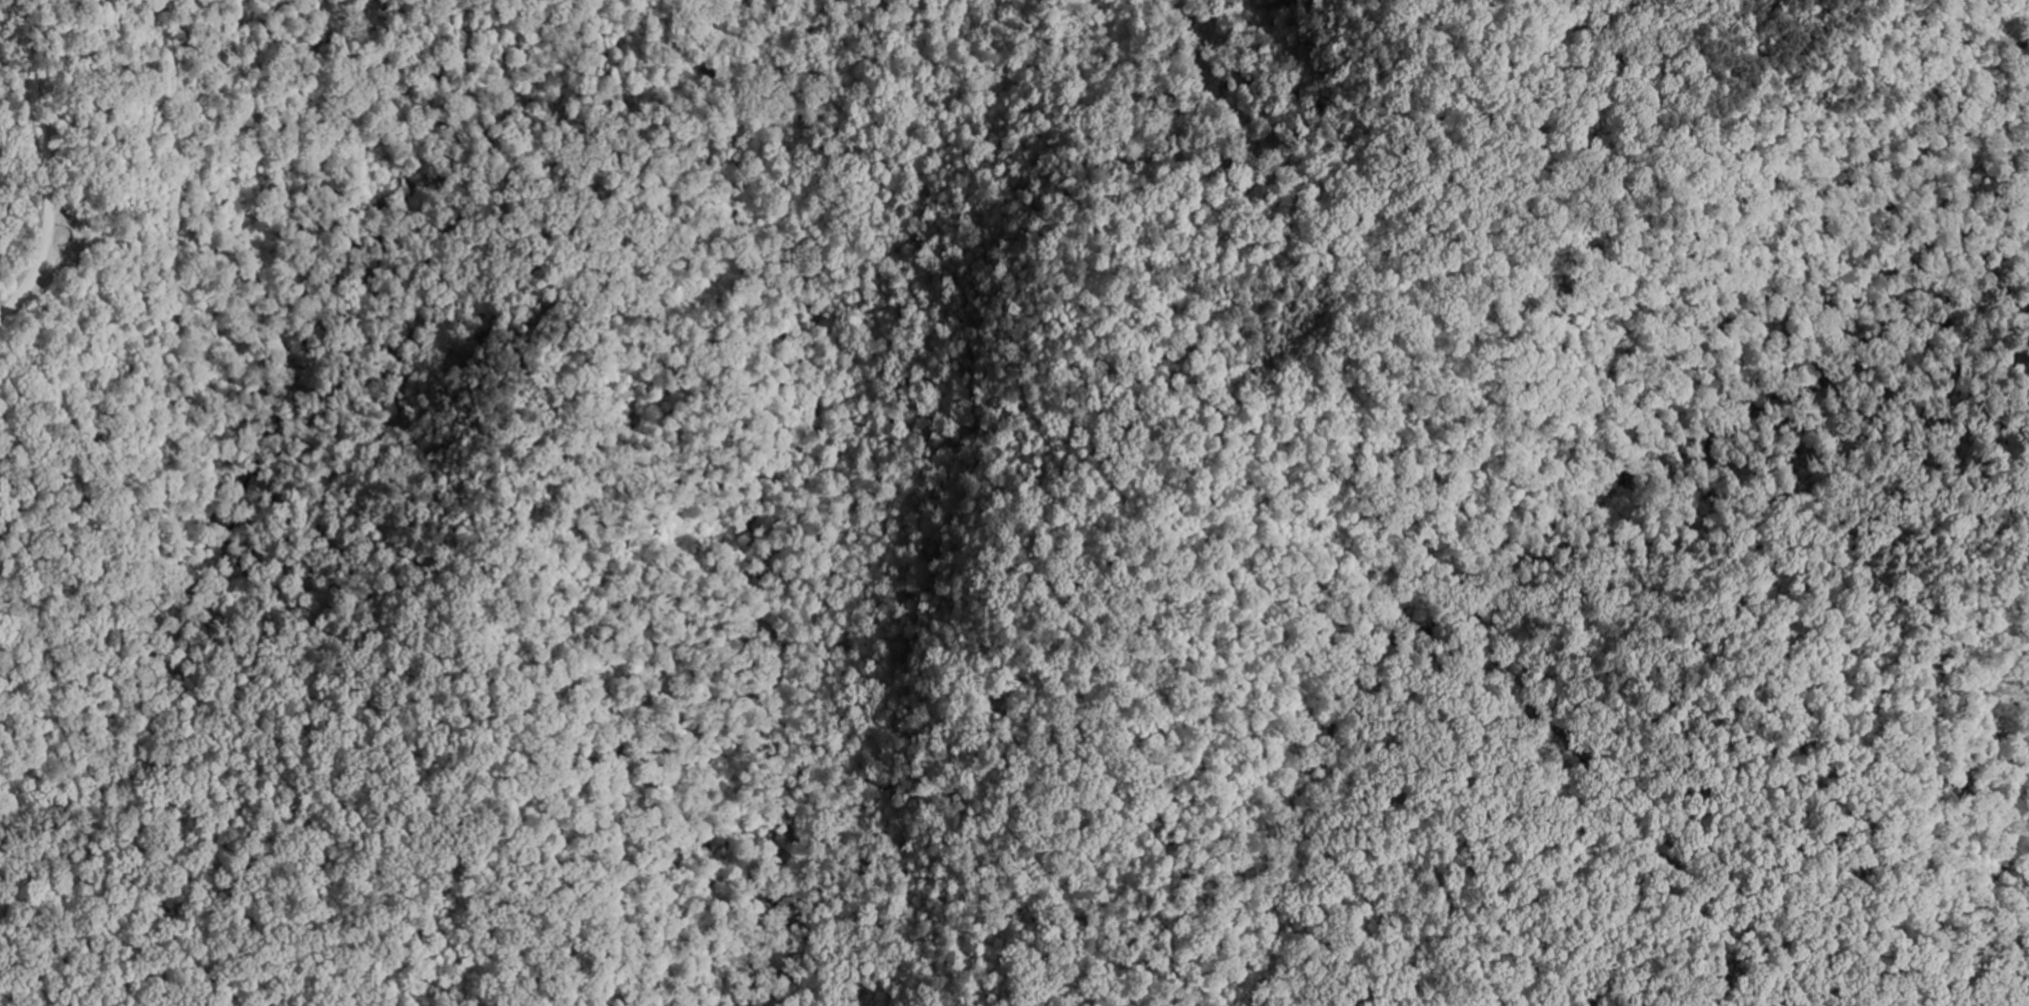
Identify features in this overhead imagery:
road: (45, 165)
road: (1240, 624)
road: (1700, 975)

